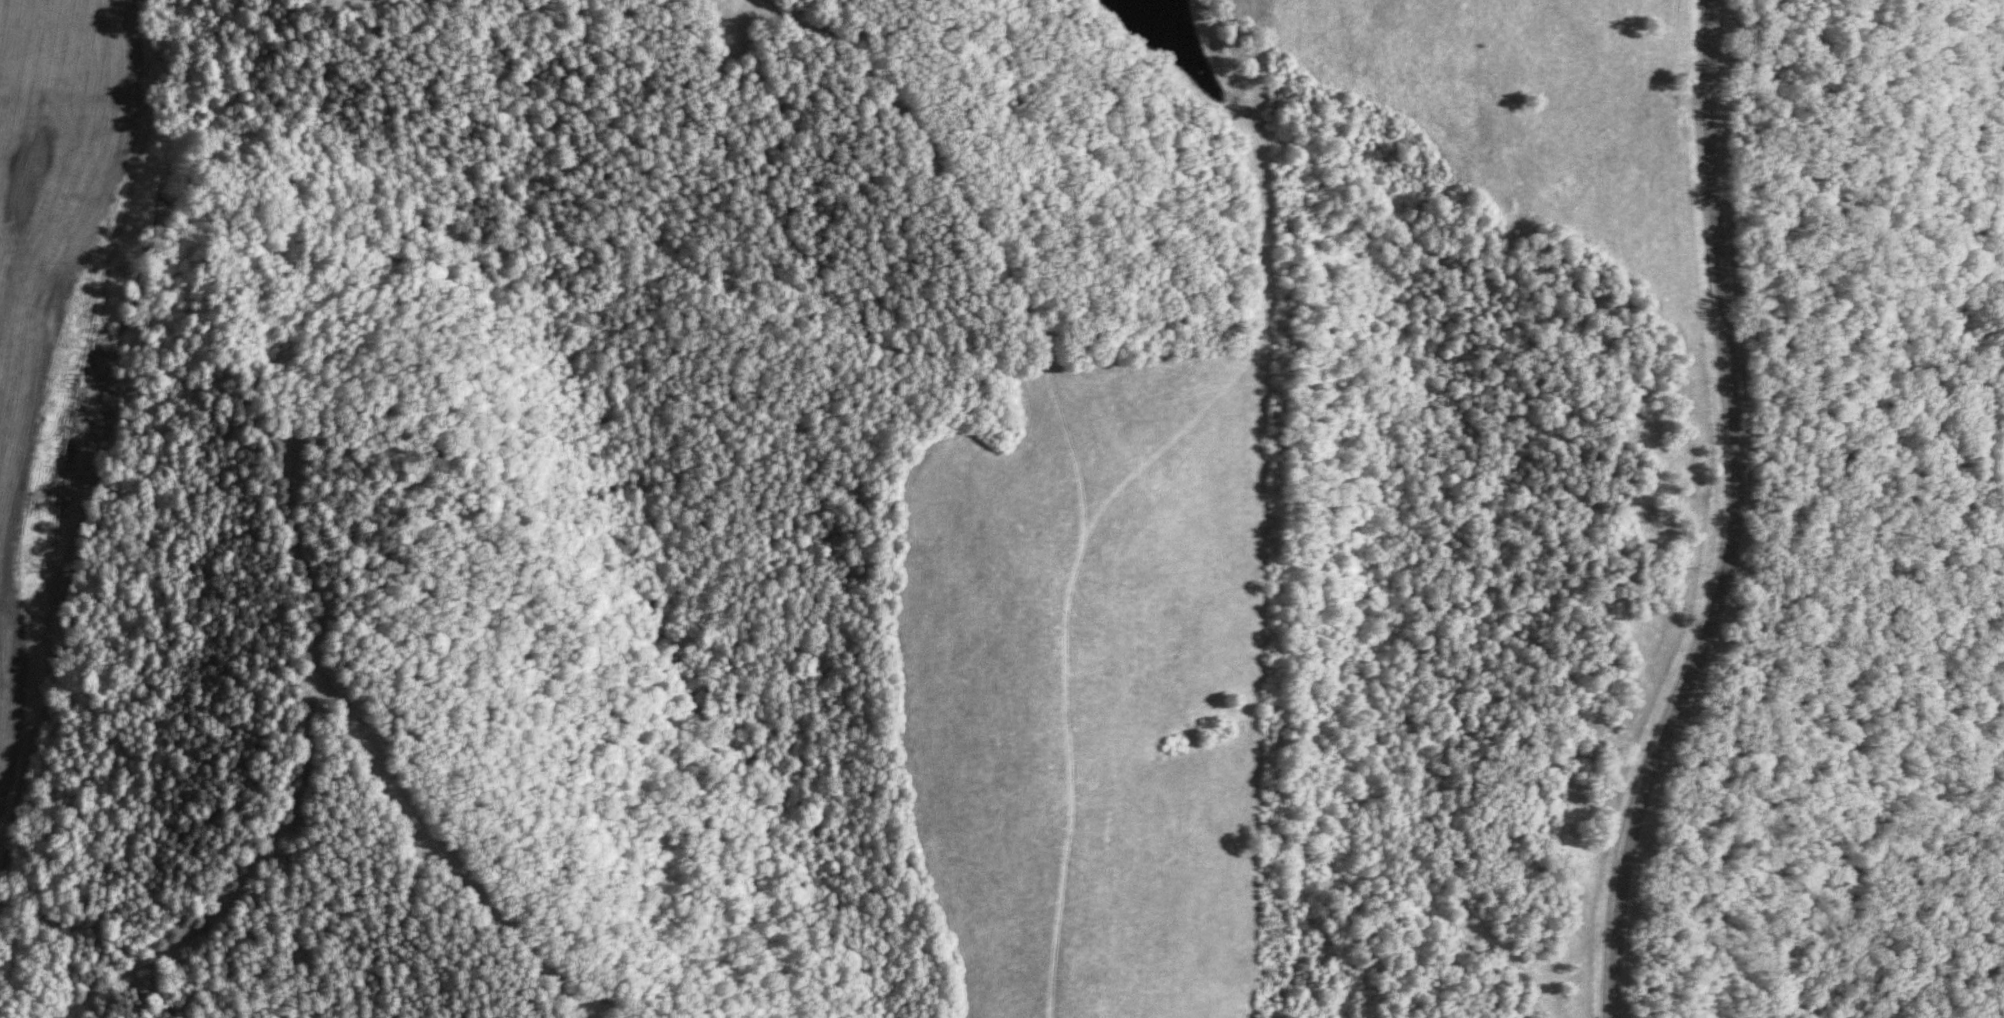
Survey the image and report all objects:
road: (1737, 517)

